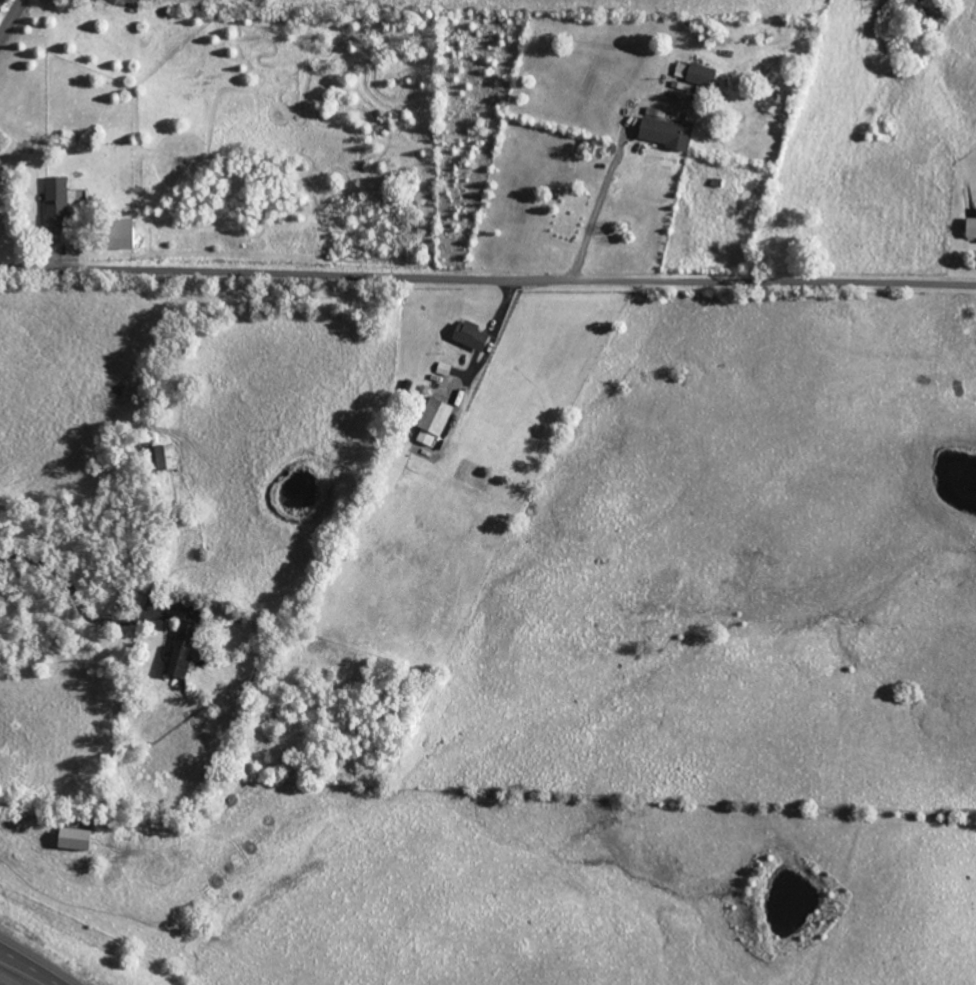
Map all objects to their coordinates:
road: (11, 19)
building: (694, 73)
building: (664, 132)
building: (57, 201)
road: (595, 211)
building: (970, 227)
building: (119, 234)
road: (487, 274)
building: (467, 335)
road: (493, 341)
building: (431, 421)
building: (160, 456)
road: (79, 610)
building: (179, 649)
building: (71, 838)
road: (33, 964)

